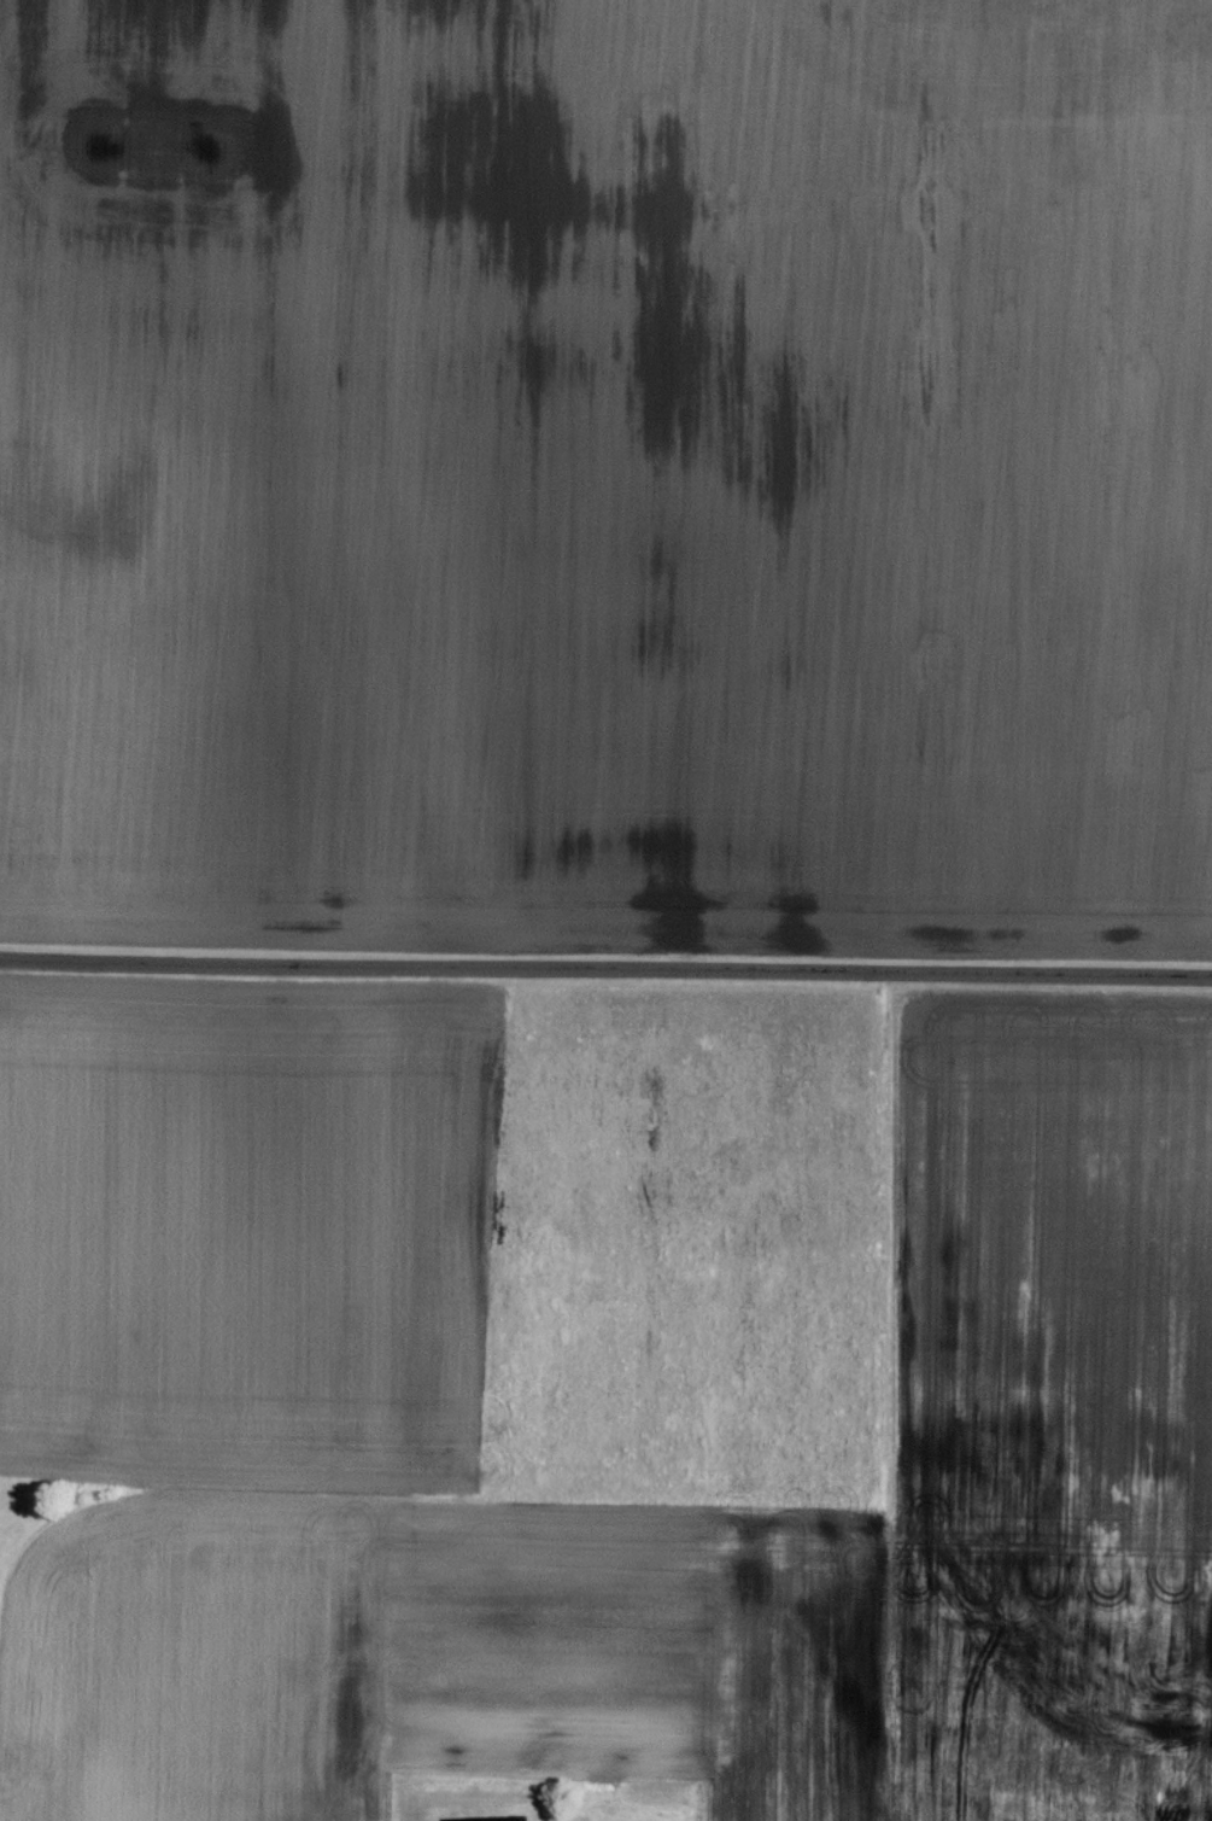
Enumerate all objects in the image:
road: (605, 973)

